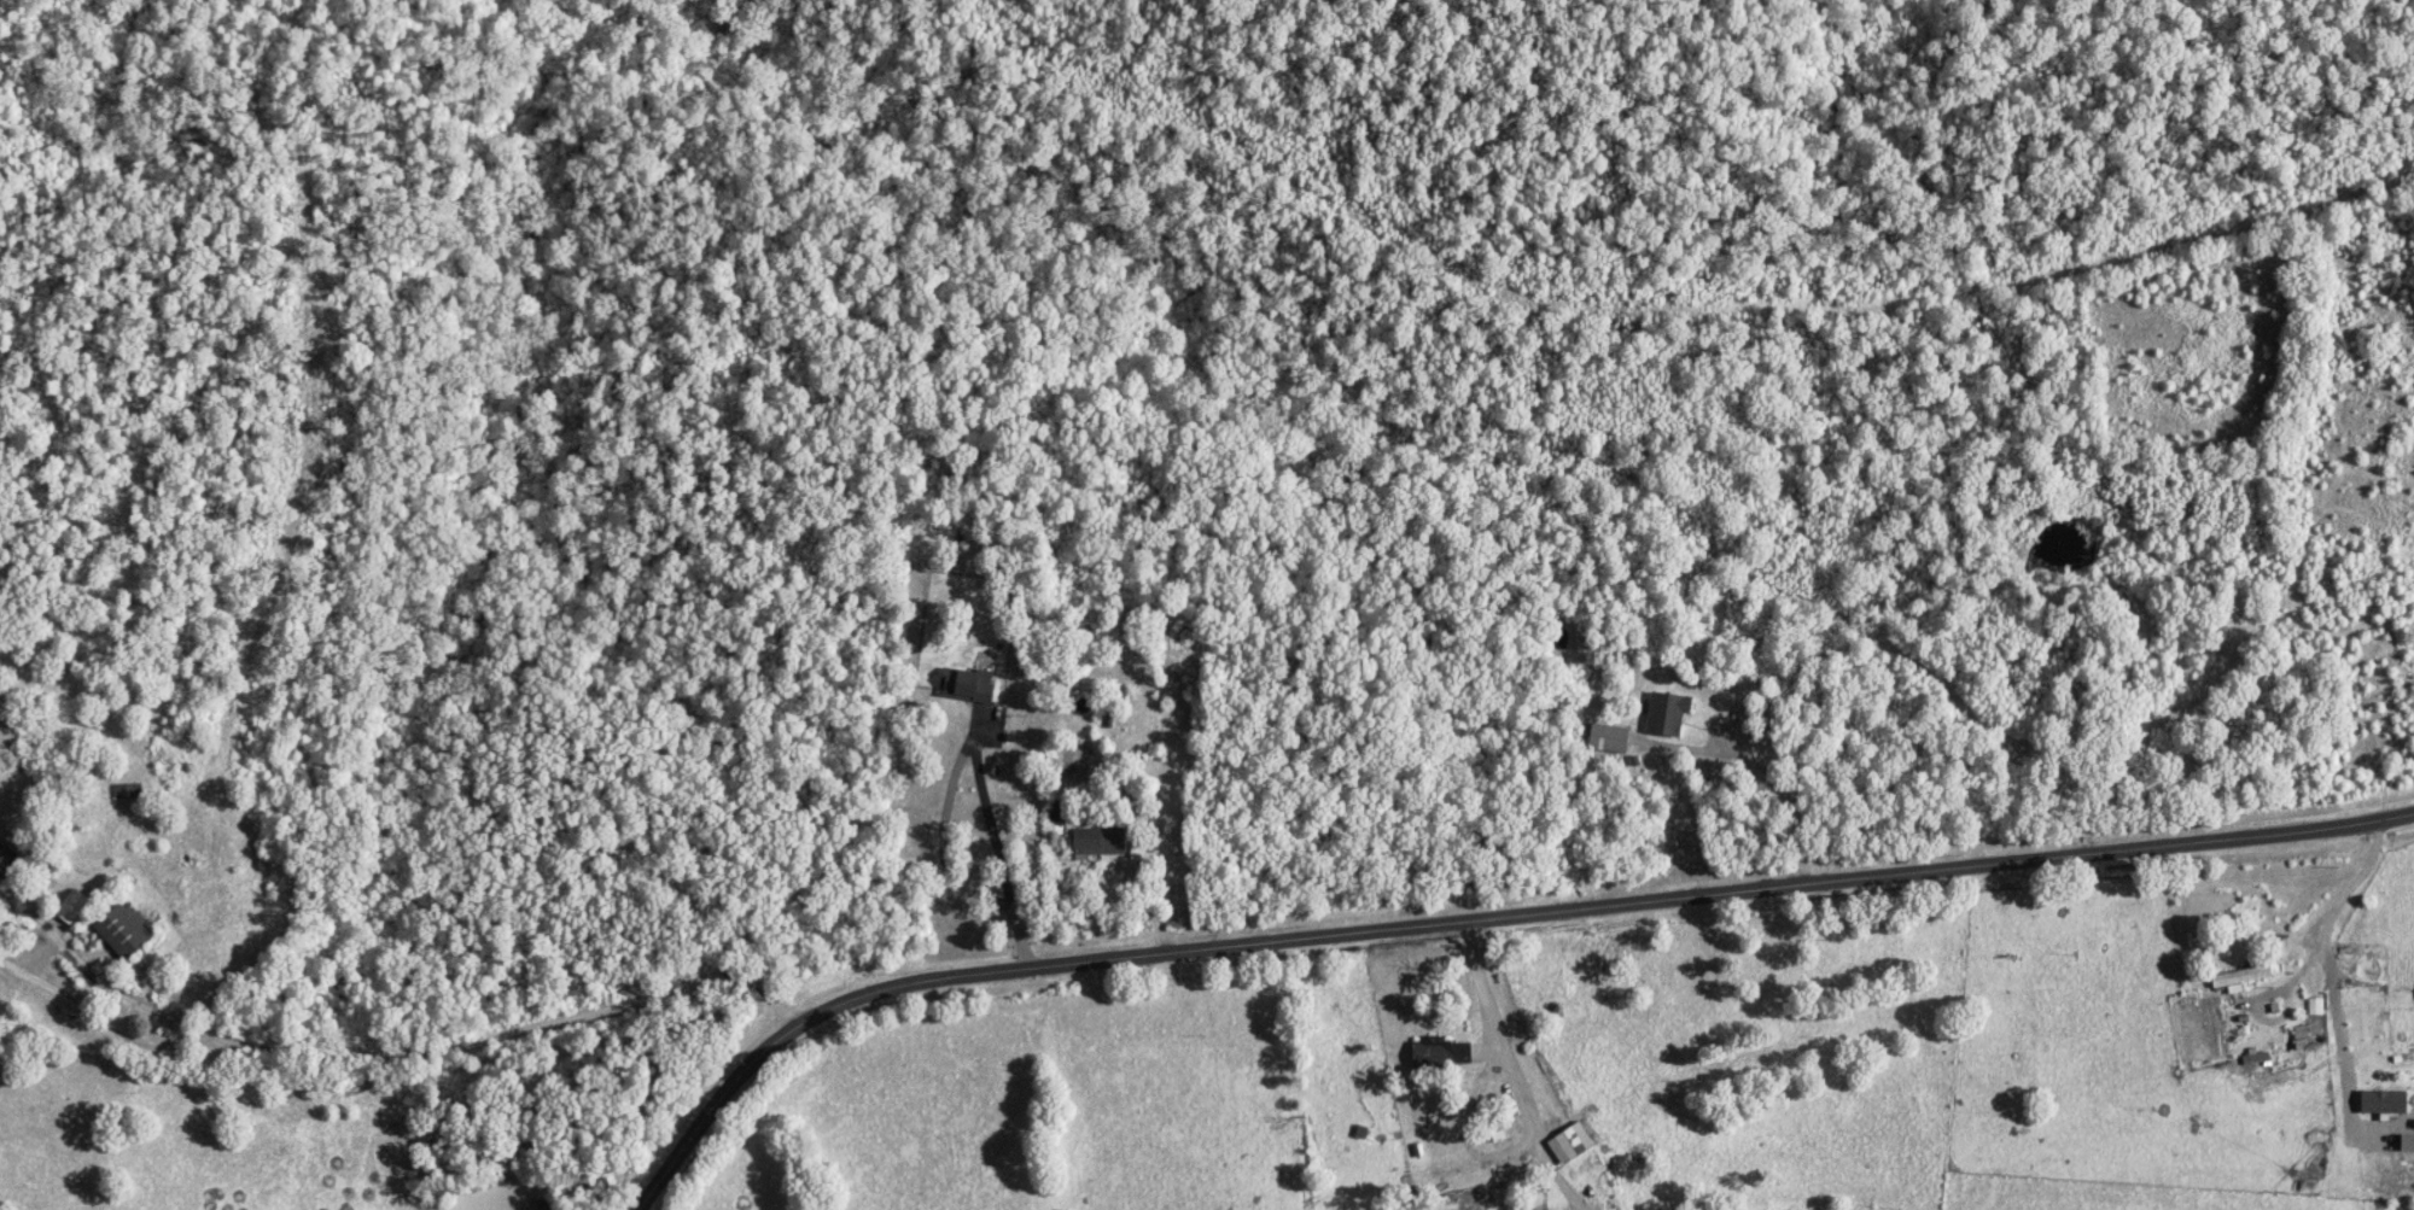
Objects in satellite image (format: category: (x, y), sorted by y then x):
building: (964, 684)
building: (1664, 714)
building: (1605, 738)
building: (1096, 841)
building: (2, 855)
building: (70, 906)
road: (1480, 919)
building: (123, 930)
building: (2239, 978)
building: (2316, 1007)
building: (2301, 1037)
building: (1438, 1054)
building: (2381, 1103)
building: (1569, 1144)

